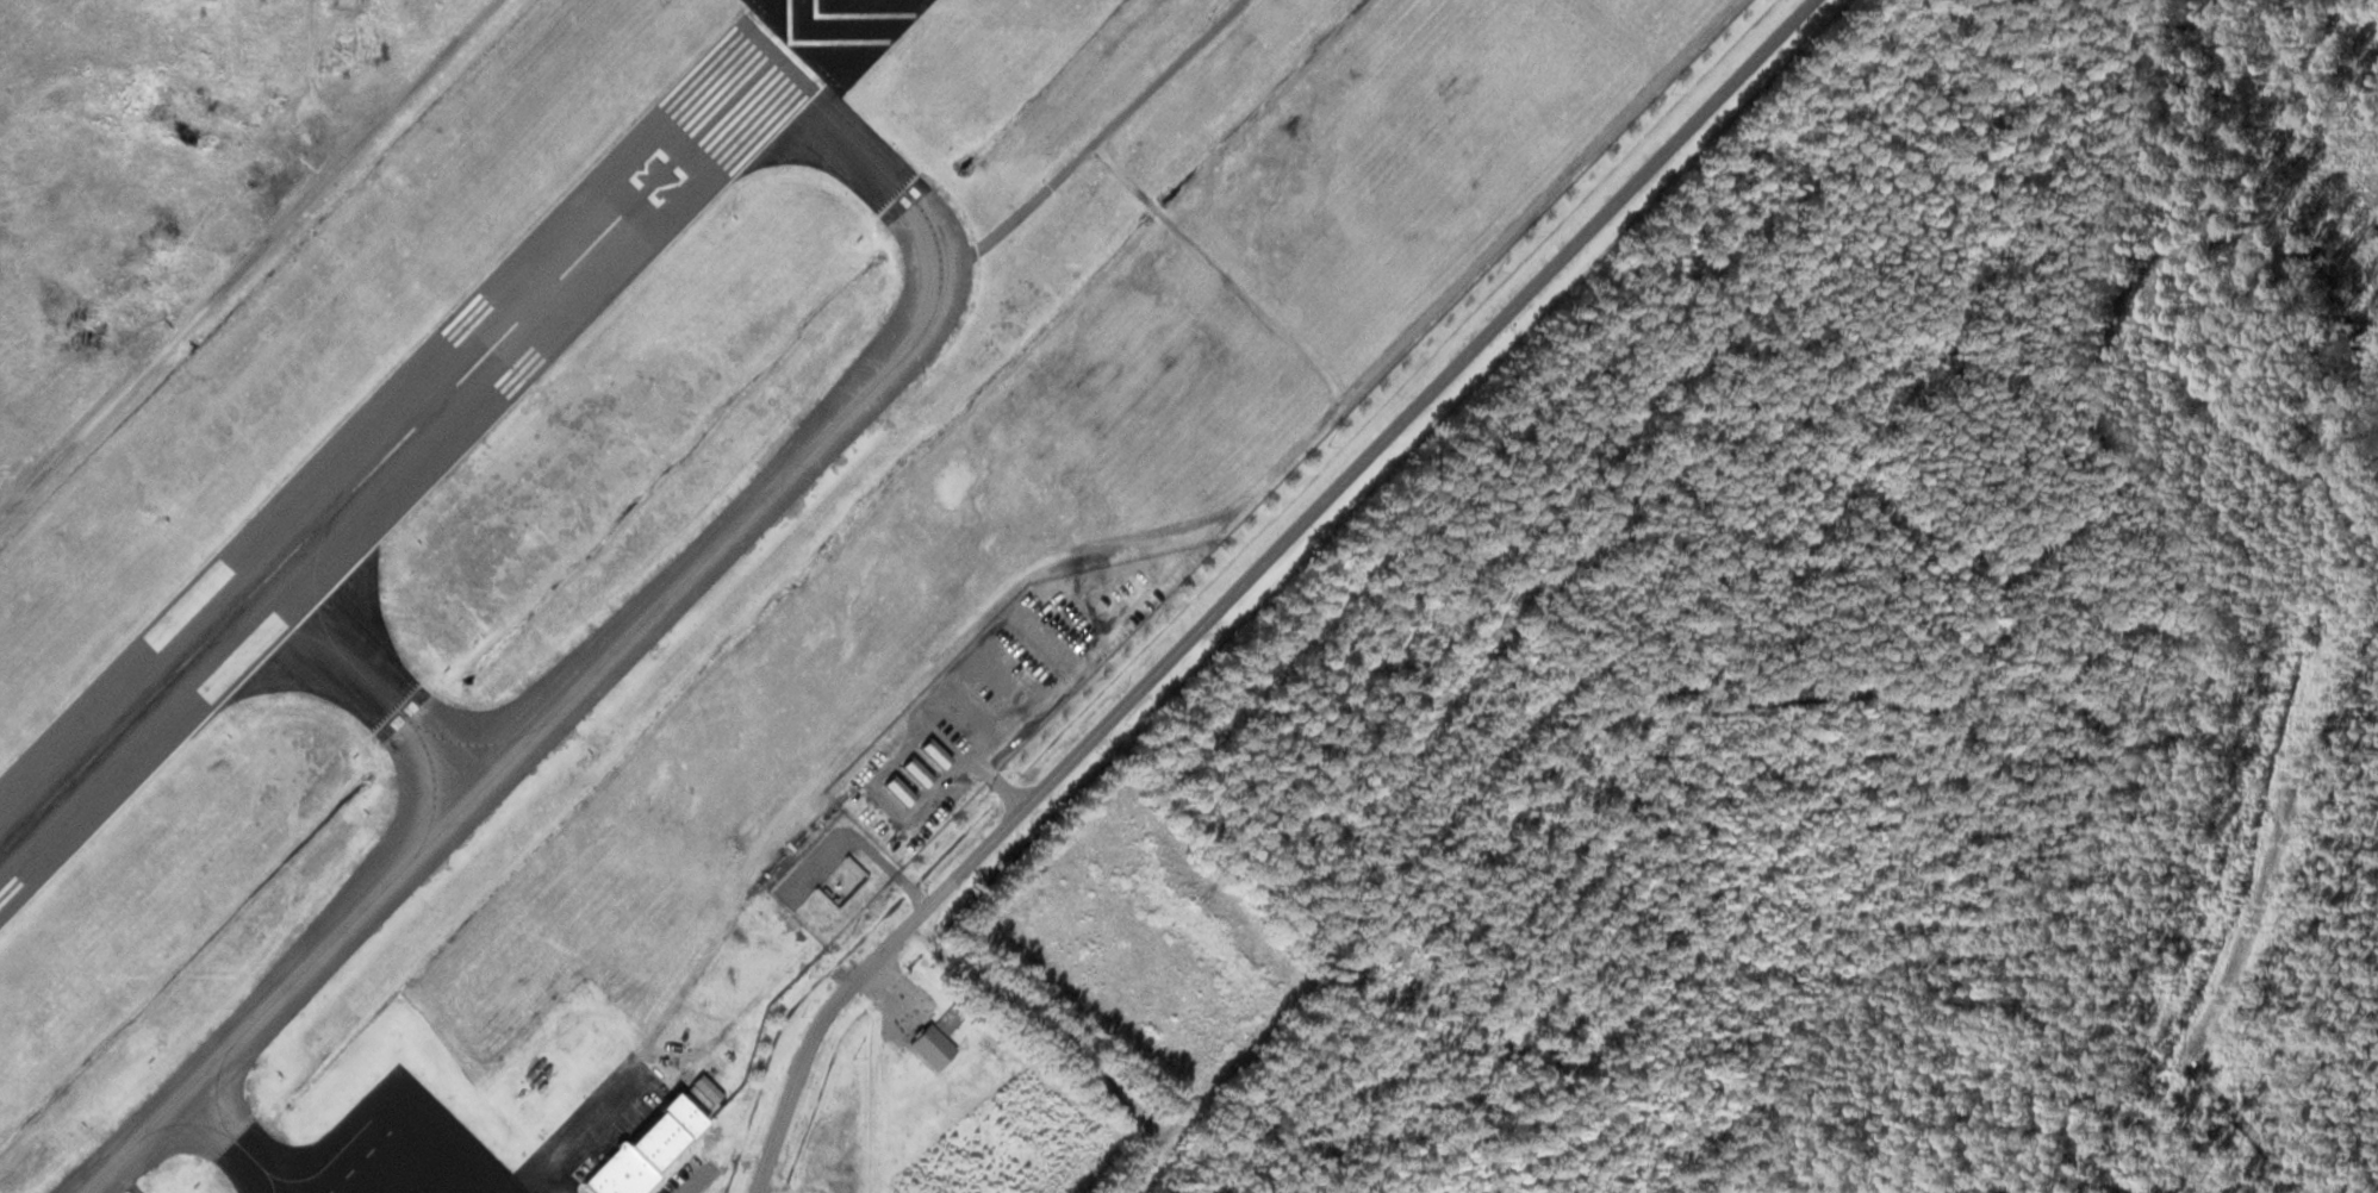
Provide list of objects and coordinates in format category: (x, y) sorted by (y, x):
road: (1169, 71)
road: (317, 79)
airport taxiway: (859, 144)
road: (1020, 211)
road: (249, 257)
road: (1221, 270)
airport runway: (393, 448)
airport: (671, 511)
road: (1170, 527)
road: (1251, 575)
airport taxiway: (343, 655)
airport taxiway: (374, 686)
airport taxiway: (531, 735)
airport taxiway: (474, 743)
building: (934, 752)
building: (916, 770)
building: (898, 788)
airport taxiway: (432, 789)
road: (1009, 791)
road: (911, 889)
building: (932, 1045)
road: (1075, 1049)
building: (704, 1091)
road: (580, 1118)
airport taxiway: (229, 1131)
airport apron: (398, 1149)
building: (643, 1150)
airport taxiway: (248, 1151)
road: (672, 1172)
airport taxiway: (315, 1173)
road: (660, 1174)
parking lot: (692, 1175)
road: (652, 1187)

